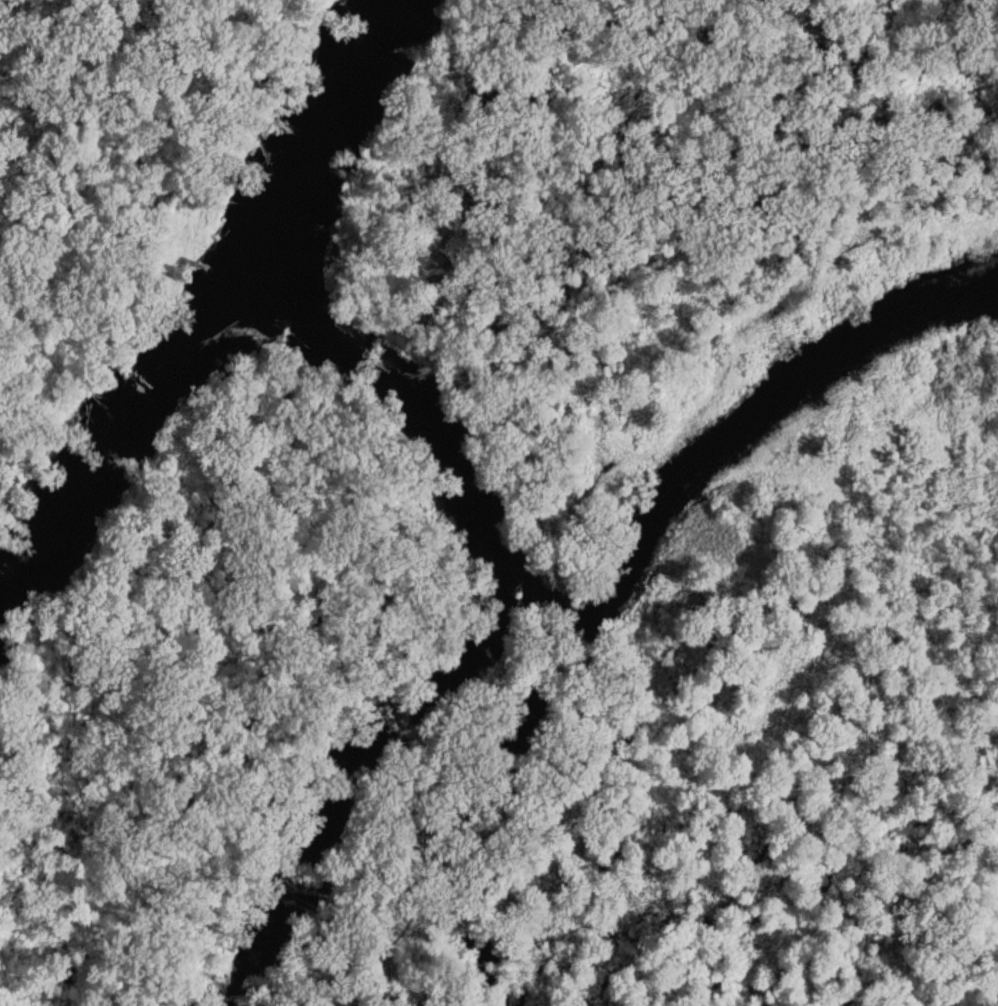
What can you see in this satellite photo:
river: (224, 315)

